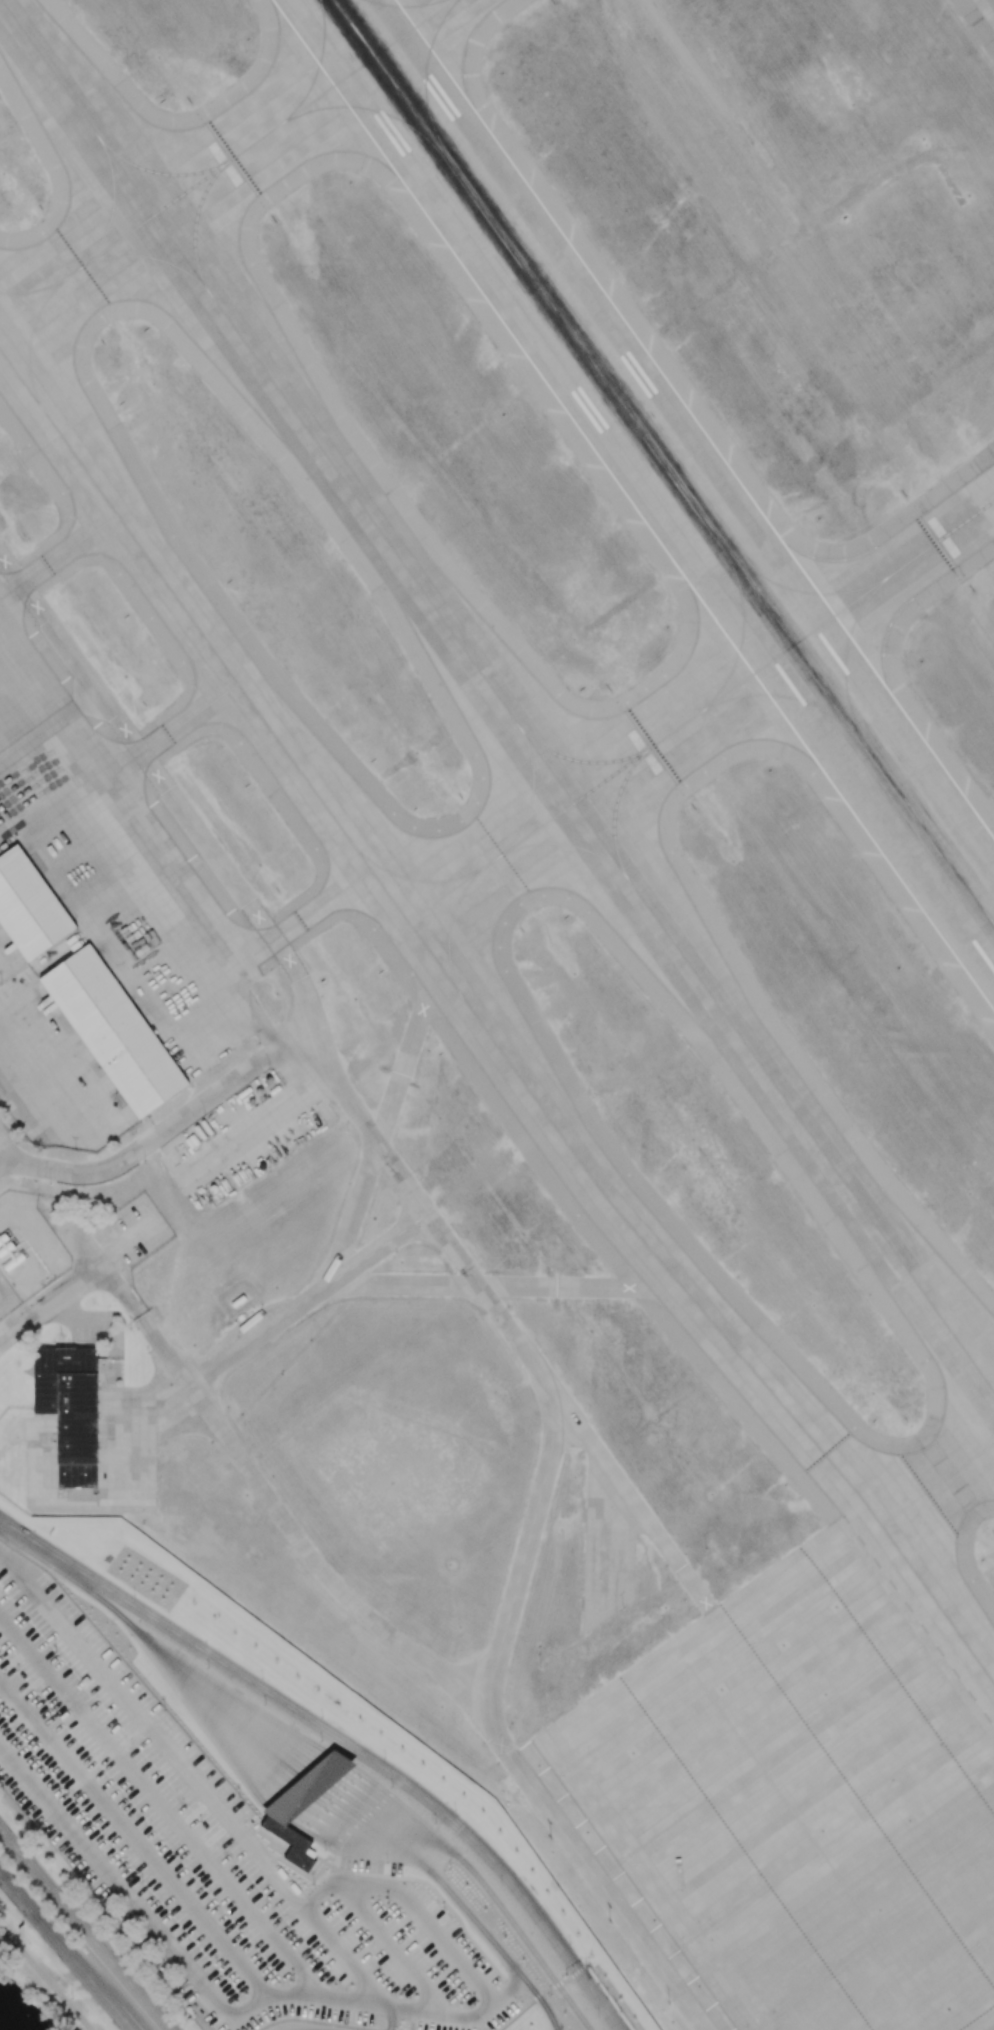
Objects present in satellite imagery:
airport taxiway: (404, 5)
airport taxiway: (319, 63)
airport taxiway: (426, 67)
airport taxiway: (364, 108)
airport taxiway: (230, 159)
airport taxiway: (160, 172)
road: (771, 176)
airport taxiway: (113, 202)
airport taxiway: (197, 217)
airport taxiway: (148, 257)
airport taxiway: (31, 339)
airport runway: (663, 462)
airport taxiway: (59, 555)
airport taxiway: (803, 590)
airport taxiway: (743, 637)
airport taxiway: (846, 652)
airport taxiway: (499, 696)
airport taxiway: (784, 697)
airport taxiway: (683, 724)
airport taxiway: (170, 733)
airport taxiway: (580, 759)
airport taxiway: (531, 794)
airport taxiway: (615, 811)
airport taxiway: (569, 844)
airport apron: (117, 869)
building: (28, 905)
airport taxiway: (310, 918)
airport taxiway: (450, 929)
road: (283, 954)
airport: (501, 1004)
airport taxiway: (482, 1027)
building: (112, 1030)
road: (27, 1082)
road: (381, 1124)
road: (257, 1127)
road: (166, 1129)
building: (4, 1236)
road: (127, 1239)
building: (7, 1247)
road: (89, 1247)
building: (13, 1261)
road: (505, 1286)
road: (307, 1299)
road: (52, 1305)
road: (78, 1321)
flagpole: (60, 1335)
road: (60, 1342)
road: (86, 1342)
road: (155, 1405)
building: (70, 1410)
road: (574, 1422)
road: (109, 1423)
road: (31, 1430)
airport taxiway: (937, 1485)
road: (85, 1500)
road: (276, 1509)
road: (29, 1538)
road: (660, 1542)
road: (609, 1543)
road: (8, 1562)
road: (77, 1570)
street lamp: (134, 1594)
road: (117, 1608)
street lamp: (55, 1651)
street lamp: (207, 1666)
street lamp: (263, 1677)
road: (235, 1691)
road: (244, 1703)
street lamp: (265, 1703)
road: (233, 1705)
road: (227, 1707)
street lamp: (164, 1709)
road: (228, 1716)
street lamp: (322, 1716)
road: (203, 1718)
road: (227, 1724)
road: (492, 1726)
road: (225, 1730)
road: (224, 1738)
street lamp: (321, 1740)
toll booth: (336, 1757)
street lamp: (385, 1757)
road: (338, 1758)
toll booth: (330, 1762)
road: (332, 1763)
toll booth: (323, 1769)
road: (324, 1770)
road: (388, 1772)
toll booth: (315, 1775)
road: (317, 1776)
toll booth: (308, 1782)
road: (310, 1783)
building: (307, 1785)
street lamp: (392, 1786)
road: (203, 1788)
toll booth: (301, 1788)
road: (303, 1789)
airport apron: (798, 1792)
toll booth: (293, 1794)
road: (295, 1795)
street lamp: (239, 1796)
toll booth: (284, 1802)
road: (287, 1803)
road: (402, 1803)
road: (159, 1805)
road: (396, 1809)
toll booth: (275, 1810)
street lamp: (455, 1810)
road: (277, 1811)
road: (391, 1814)
road: (385, 1821)
street lamp: (435, 1822)
road: (381, 1826)
road: (347, 1830)
road: (364, 1830)
road: (390, 1838)
road: (134, 1839)
road: (341, 1840)
building: (290, 1842)
parking lot: (206, 1849)
street lamp: (324, 1850)
road: (348, 1850)
airport taxiway: (818, 1850)
street lamp: (36, 1852)
road: (310, 1852)
road: (454, 1852)
building: (309, 1853)
road: (403, 1855)
parking lot: (372, 1862)
street lamp: (387, 1862)
road: (426, 1865)
street lamp: (450, 1868)
street lamp: (142, 1880)
street lamp: (313, 1883)
street lamp: (501, 1885)
road: (320, 1890)
road: (440, 1897)
street lamp: (387, 1901)
road: (24, 1902)
street lamp: (444, 1907)
road: (428, 1922)
road: (83, 1930)
street lamp: (503, 1932)
road: (527, 1942)
street lamp: (570, 1944)
road: (391, 1945)
road: (499, 1949)
street lamp: (121, 1954)
road: (591, 1965)
road: (80, 1968)
street lamp: (216, 1968)
road: (45, 1978)
street lamp: (293, 1980)
park: (39, 1982)
traffic signals: (586, 1984)
road: (201, 1985)
road: (360, 1988)
road: (510, 1989)
street lamp: (551, 1995)
street lamp: (73, 1996)
street lamp: (475, 2004)
road: (512, 2017)
street lamp: (598, 2017)
road: (123, 2018)
road: (392, 2018)
road: (321, 2020)
building: (390, 2025)
road: (302, 2029)
road: (309, 2029)

